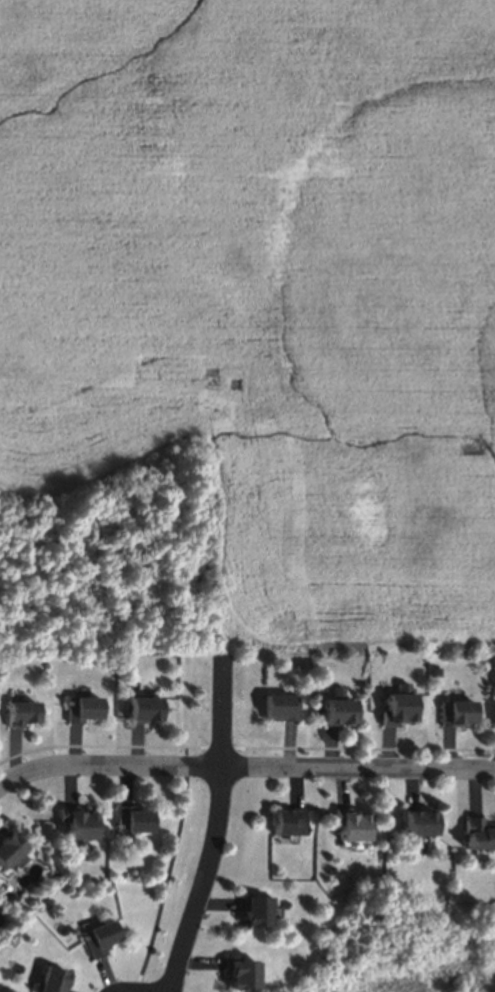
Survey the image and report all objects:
building: (399, 706)
building: (282, 707)
building: (145, 708)
building: (84, 709)
building: (339, 709)
building: (22, 713)
building: (459, 713)
road: (245, 767)
building: (134, 819)
building: (289, 821)
building: (419, 822)
building: (79, 823)
road: (220, 825)
building: (351, 825)
building: (479, 834)
building: (11, 851)
building: (257, 911)
building: (100, 938)
building: (241, 973)
building: (54, 979)
road: (139, 989)

